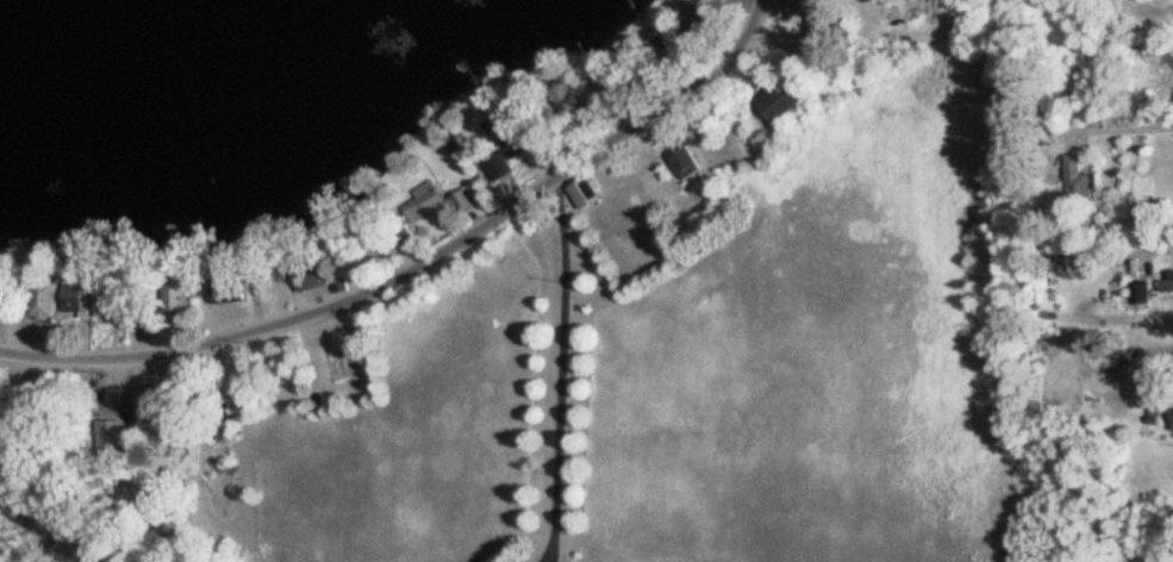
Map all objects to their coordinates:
building: (785, 100)
road: (1121, 126)
building: (688, 163)
building: (587, 188)
building: (436, 204)
road: (1154, 245)
road: (423, 266)
building: (1167, 283)
building: (341, 285)
building: (230, 291)
building: (1141, 293)
building: (179, 296)
building: (2, 300)
building: (111, 301)
building: (75, 302)
road: (559, 361)
building: (1172, 419)
road: (550, 551)
road: (544, 552)

